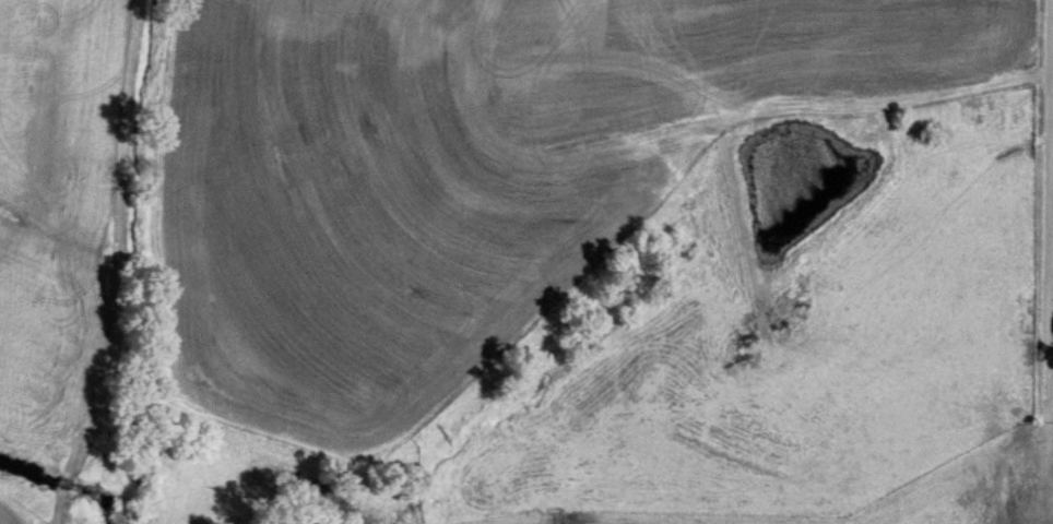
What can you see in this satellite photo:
road: (1049, 158)

